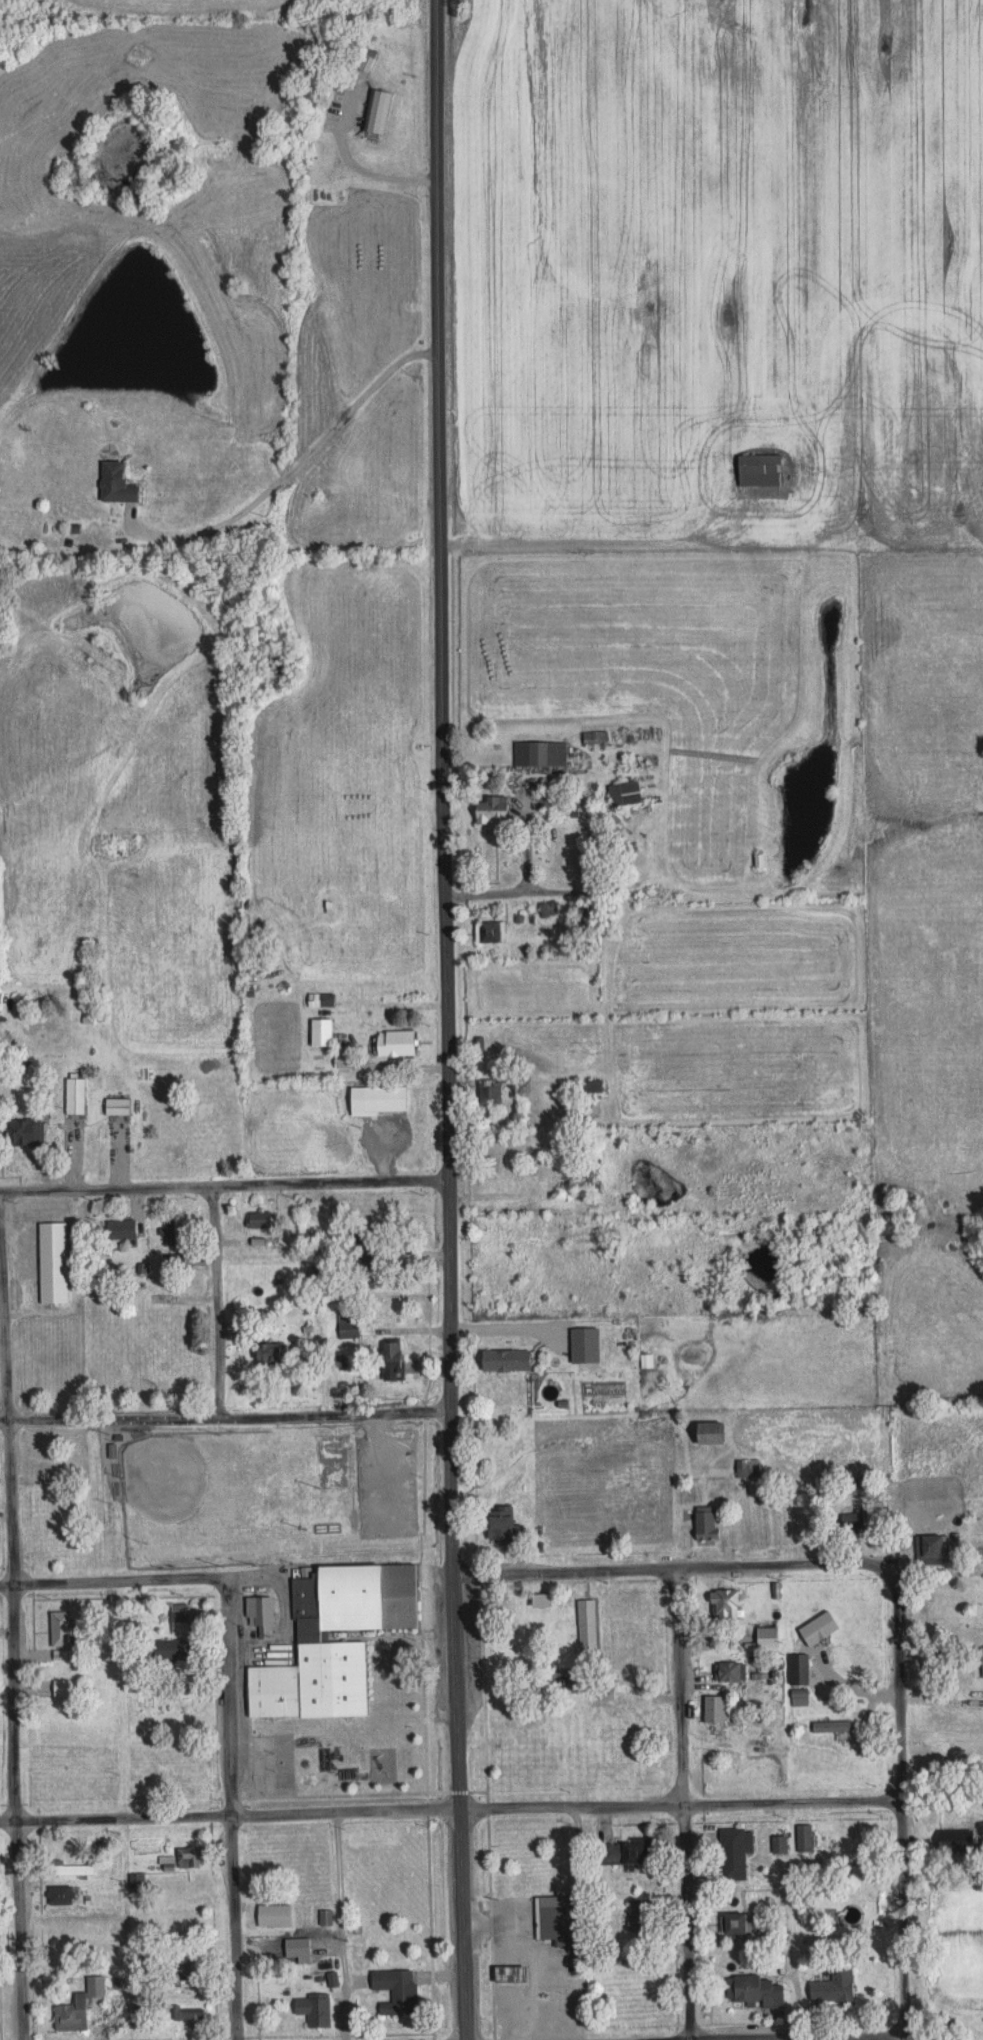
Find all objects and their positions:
building: (363, 59)
building: (376, 111)
road: (440, 291)
building: (755, 470)
building: (113, 484)
building: (538, 753)
building: (622, 794)
building: (487, 812)
building: (755, 860)
building: (487, 932)
building: (323, 1000)
building: (390, 1043)
building: (475, 1045)
building: (340, 1058)
building: (588, 1086)
building: (486, 1091)
building: (72, 1096)
building: (382, 1099)
building: (113, 1106)
building: (20, 1132)
building: (589, 1164)
building: (508, 1167)
road: (223, 1185)
building: (259, 1220)
building: (117, 1230)
building: (170, 1233)
building: (363, 1253)
building: (170, 1262)
building: (50, 1263)
road: (214, 1300)
road: (448, 1311)
building: (345, 1326)
building: (582, 1346)
building: (265, 1356)
building: (387, 1360)
building: (502, 1361)
road: (224, 1414)
building: (703, 1434)
building: (745, 1468)
building: (851, 1518)
building: (701, 1526)
building: (500, 1527)
building: (641, 1531)
building: (52, 1538)
building: (927, 1549)
road: (678, 1567)
road: (113, 1581)
building: (540, 1597)
building: (722, 1607)
building: (258, 1616)
building: (178, 1623)
building: (584, 1625)
building: (57, 1629)
building: (304, 1637)
road: (13, 1646)
building: (166, 1650)
building: (981, 1663)
building: (846, 1664)
building: (726, 1673)
building: (62, 1688)
building: (603, 1693)
building: (711, 1710)
building: (170, 1773)
building: (53, 1776)
road: (680, 1804)
road: (229, 1809)
road: (903, 1809)
road: (121, 1810)
road: (451, 1811)
building: (952, 1840)
building: (156, 1841)
building: (513, 1843)
building: (776, 1844)
building: (95, 1845)
building: (623, 1851)
building: (732, 1852)
building: (187, 1857)
building: (70, 1869)
building: (134, 1881)
building: (180, 1890)
building: (58, 1894)
building: (639, 1914)
building: (272, 1915)
building: (324, 1917)
building: (550, 1918)
building: (52, 1921)
road: (793, 1921)
building: (734, 1922)
road: (578, 1924)
road: (341, 1927)
building: (300, 1949)
building: (183, 1967)
building: (331, 1979)
building: (830, 1984)
building: (394, 1990)
building: (753, 1990)
building: (312, 2009)
building: (186, 2013)
building: (70, 2014)
road: (833, 2038)

